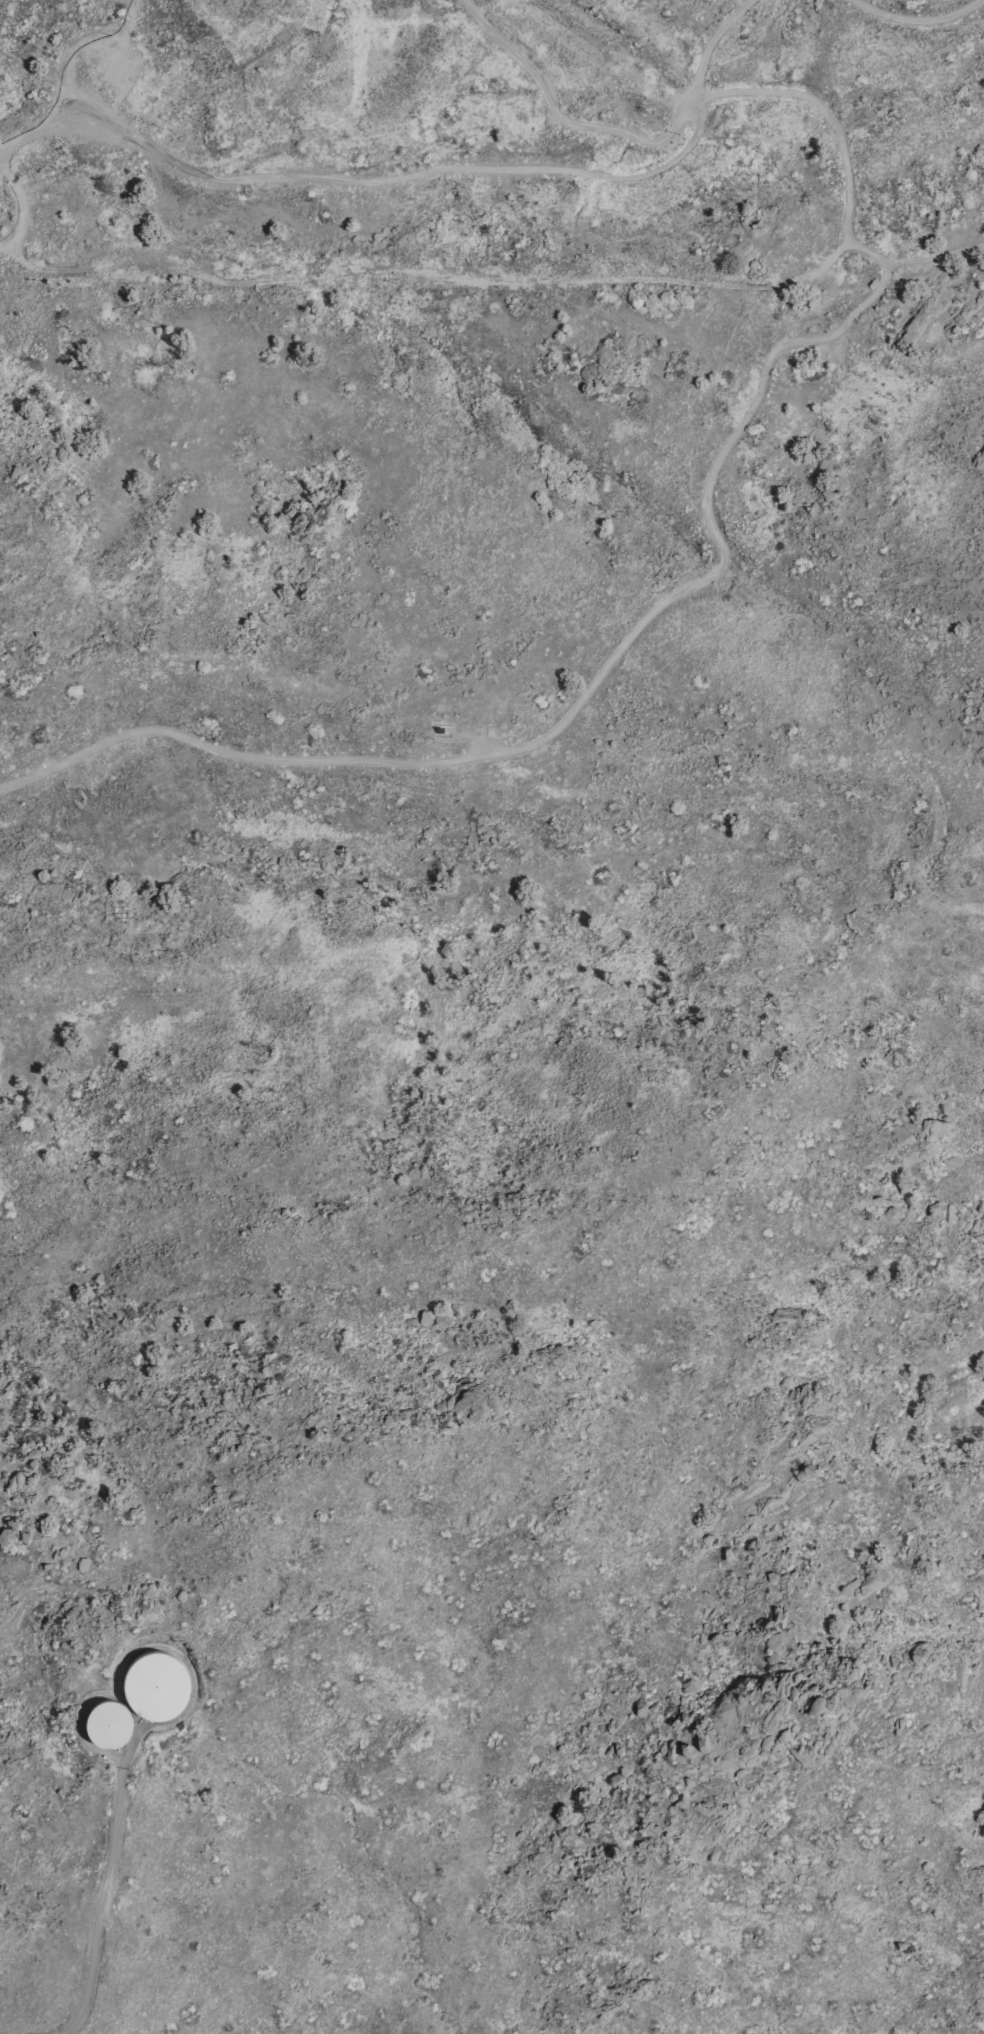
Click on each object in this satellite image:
road: (522, 62)
building: (12, 472)
road: (720, 548)
building: (154, 1686)
building: (107, 1724)
road: (100, 1902)

